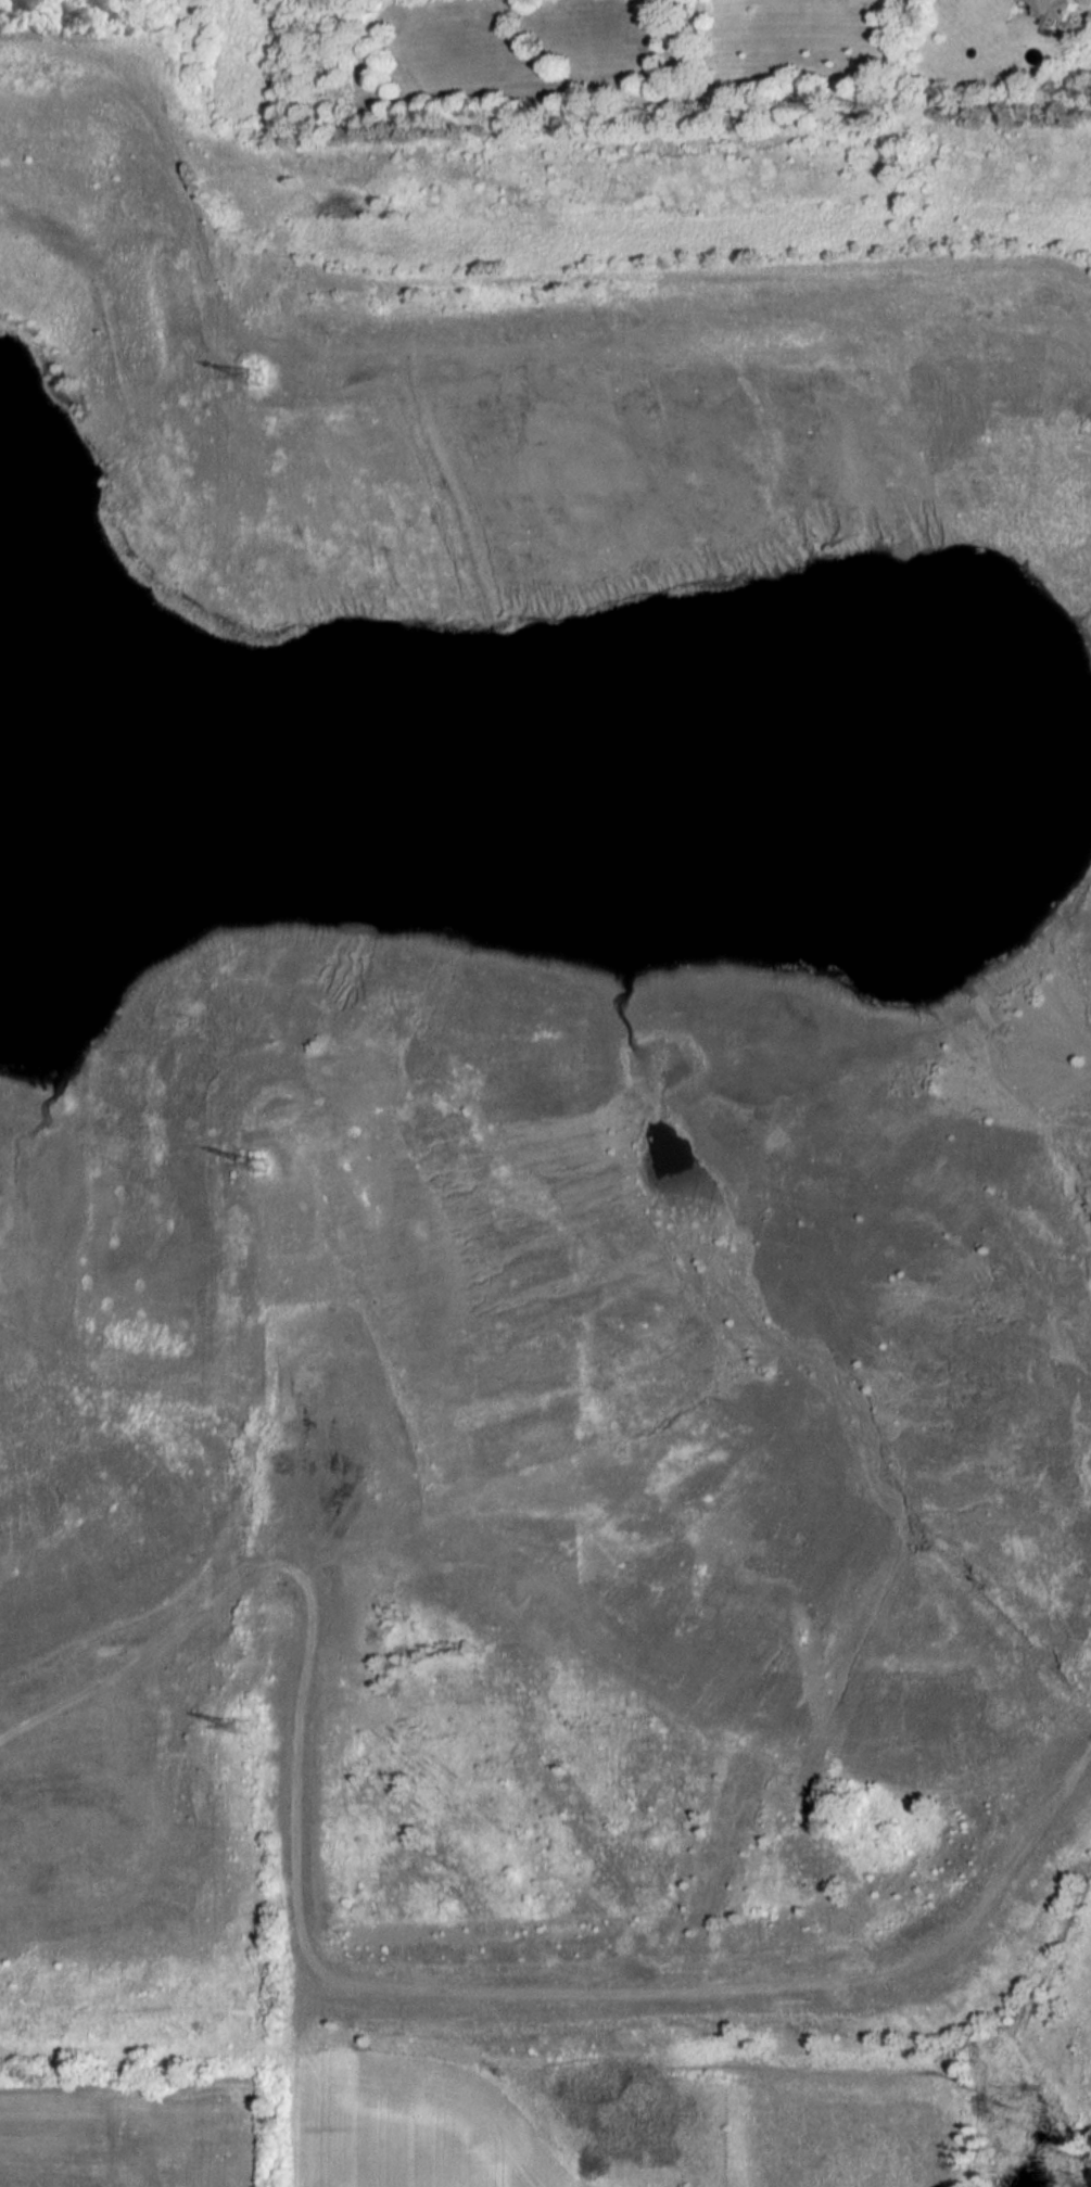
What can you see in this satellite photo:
building: (1054, 10)
power tower: (267, 381)
quarry: (532, 1130)
power tower: (266, 1164)
building: (293, 1450)
power tower: (250, 1726)

